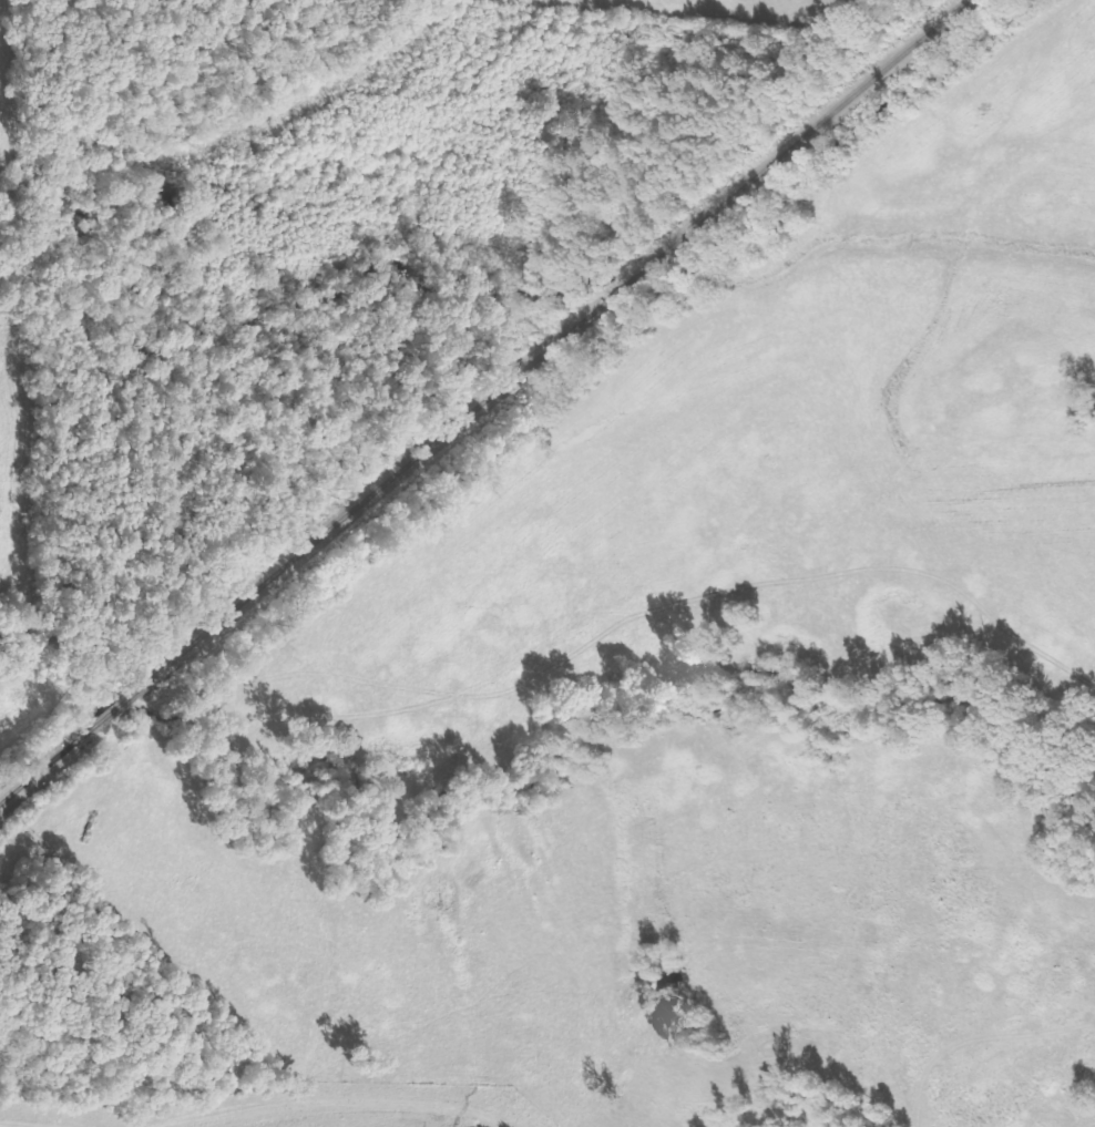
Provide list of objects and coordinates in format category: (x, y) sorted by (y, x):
railway: (481, 400)

